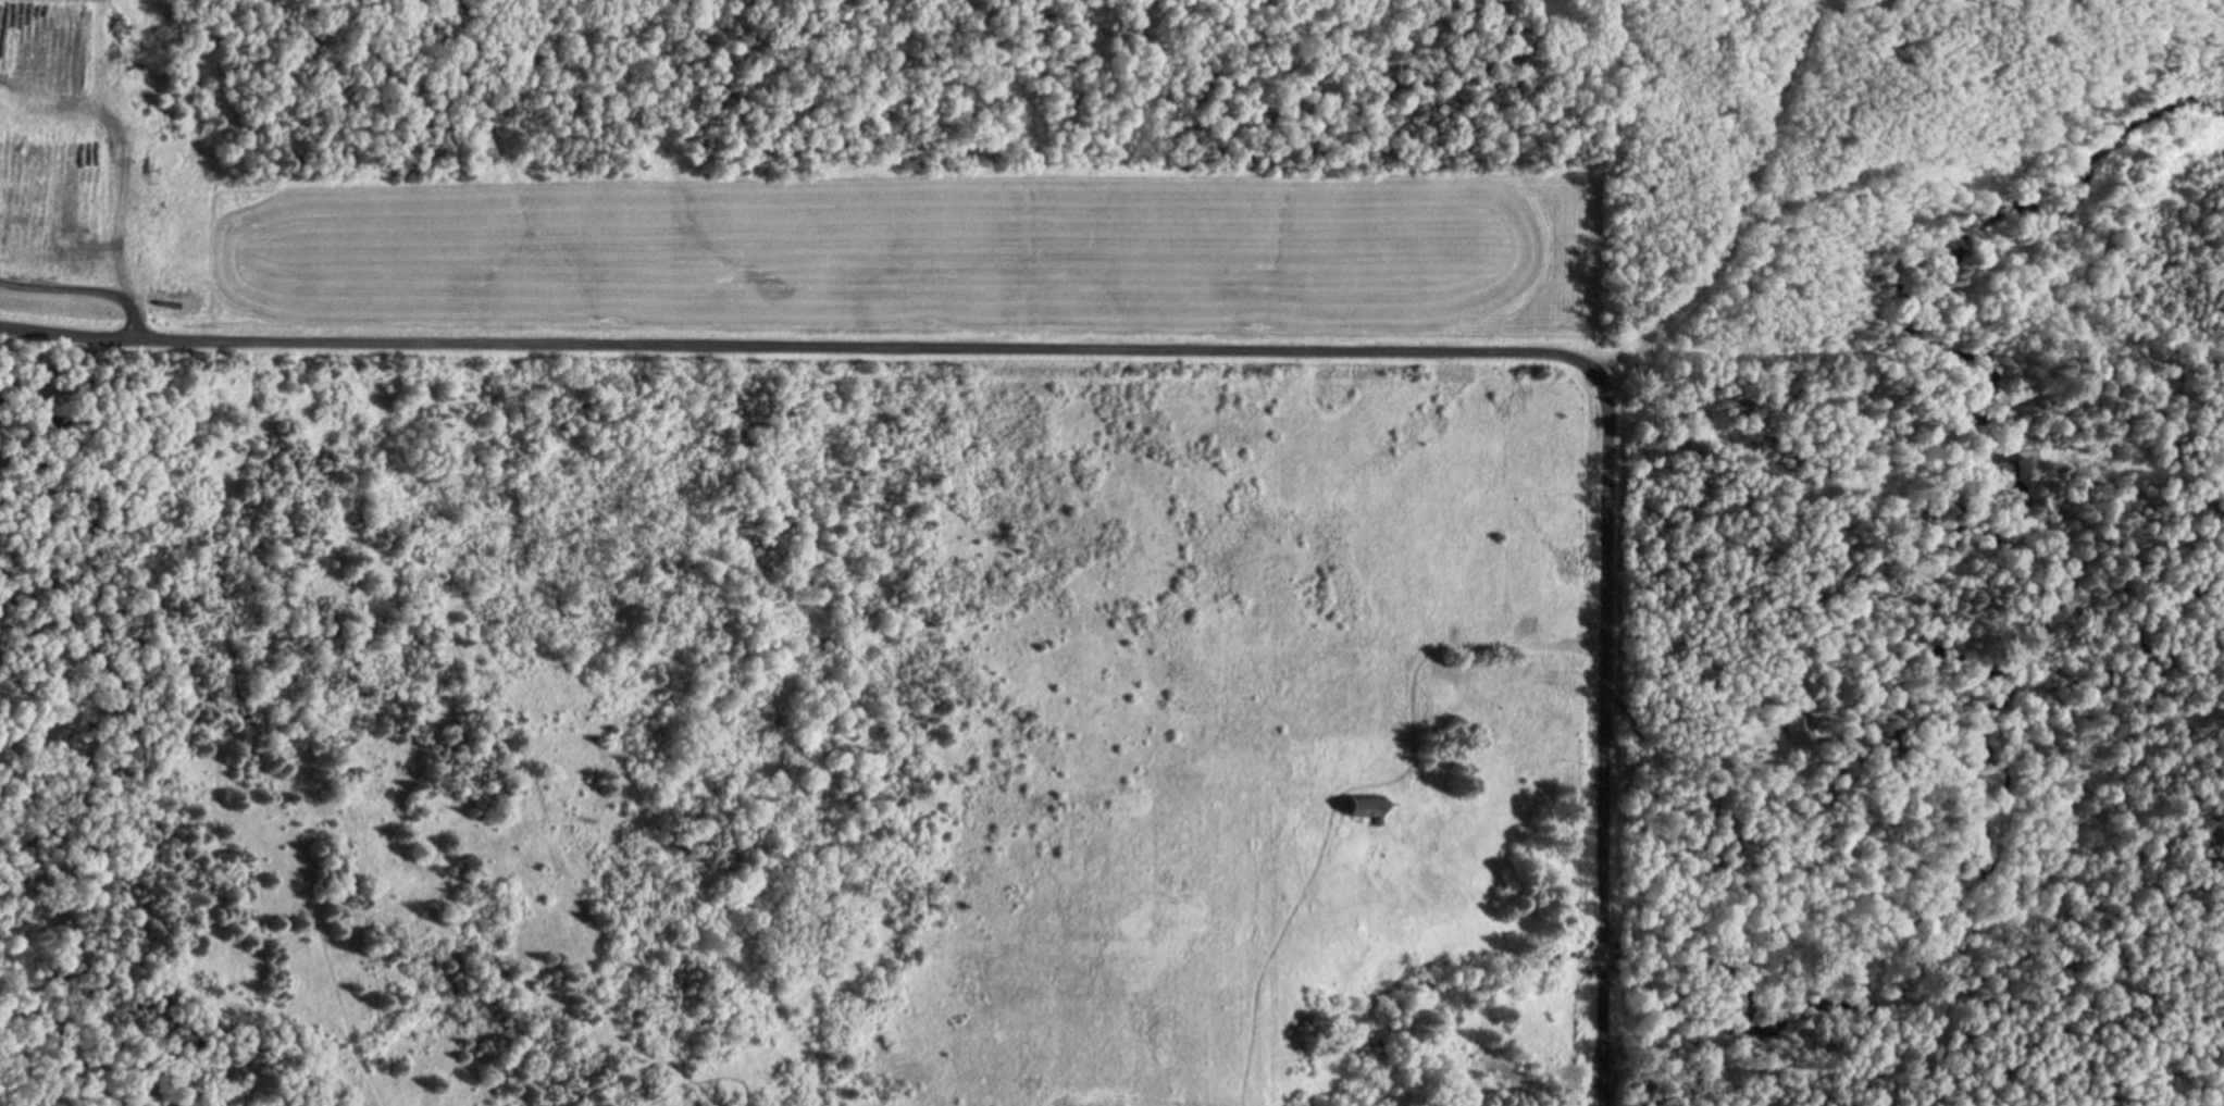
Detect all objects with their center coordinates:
road: (803, 345)
building: (1798, 724)
road: (1605, 738)
building: (1374, 807)

